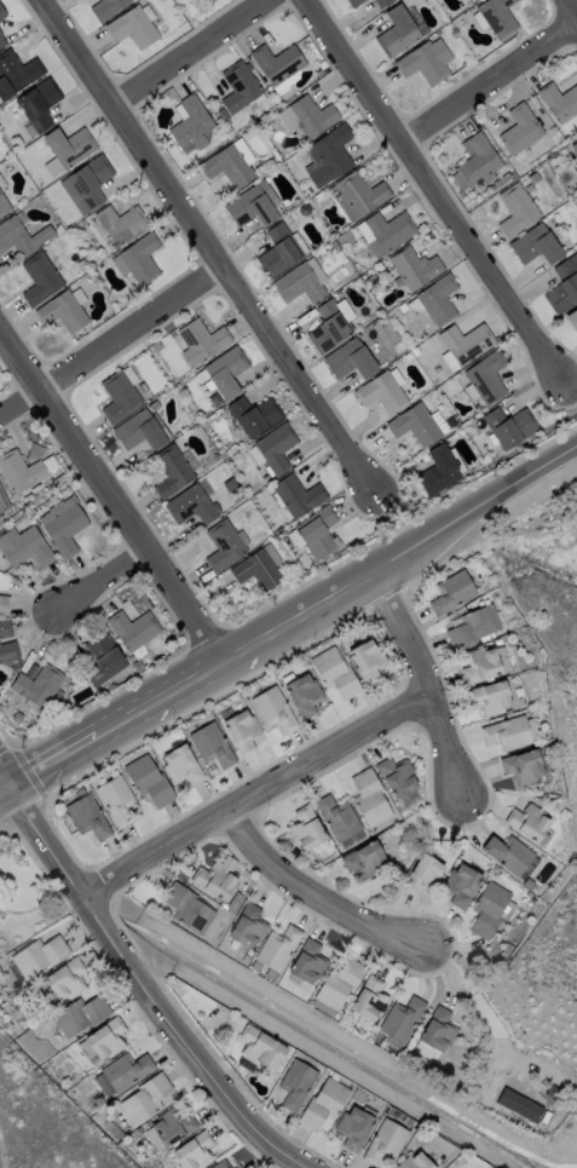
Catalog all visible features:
building: (353, 2)
building: (380, 2)
building: (105, 7)
road: (571, 7)
building: (1, 13)
building: (492, 16)
building: (133, 25)
building: (396, 31)
building: (1, 40)
road: (187, 48)
building: (425, 62)
building: (276, 63)
building: (16, 73)
road: (491, 75)
building: (237, 86)
building: (559, 102)
building: (37, 104)
building: (306, 116)
building: (189, 122)
building: (519, 130)
building: (68, 146)
building: (573, 146)
building: (241, 150)
building: (327, 156)
building: (474, 163)
building: (225, 166)
building: (51, 167)
building: (573, 167)
building: (86, 184)
road: (442, 188)
building: (357, 196)
building: (252, 205)
building: (2, 206)
building: (515, 209)
building: (120, 223)
building: (383, 231)
building: (19, 236)
building: (533, 244)
road: (206, 246)
building: (277, 251)
building: (137, 259)
building: (412, 267)
building: (39, 278)
building: (299, 282)
building: (562, 284)
building: (437, 299)
building: (60, 312)
building: (329, 324)
building: (200, 341)
building: (465, 343)
road: (110, 346)
building: (348, 359)
building: (224, 372)
building: (485, 376)
building: (380, 392)
building: (117, 397)
building: (253, 415)
building: (414, 425)
building: (509, 426)
building: (138, 431)
building: (275, 447)
building: (171, 471)
building: (437, 471)
building: (19, 472)
road: (109, 494)
building: (296, 495)
building: (2, 502)
building: (190, 505)
building: (60, 525)
building: (316, 533)
building: (223, 545)
building: (23, 546)
road: (105, 582)
building: (451, 592)
building: (2, 604)
road: (292, 621)
building: (473, 626)
building: (132, 628)
building: (6, 643)
building: (103, 657)
building: (364, 660)
building: (484, 663)
building: (333, 672)
road: (427, 680)
building: (36, 686)
building: (301, 694)
building: (489, 697)
building: (271, 708)
building: (240, 731)
building: (506, 732)
building: (209, 744)
building: (179, 765)
building: (521, 766)
building: (397, 776)
building: (146, 779)
road: (249, 790)
building: (369, 798)
building: (115, 800)
building: (86, 817)
building: (336, 817)
building: (529, 823)
building: (305, 828)
building: (507, 853)
building: (363, 859)
building: (422, 874)
building: (214, 878)
road: (312, 882)
building: (460, 885)
building: (185, 908)
road: (29, 909)
building: (487, 909)
building: (247, 926)
building: (275, 951)
building: (37, 955)
building: (306, 962)
building: (59, 982)
road: (139, 982)
building: (337, 984)
building: (369, 999)
building: (79, 1015)
building: (400, 1019)
road: (329, 1030)
building: (437, 1030)
building: (104, 1038)
building: (260, 1048)
building: (121, 1072)
building: (295, 1083)
building: (143, 1099)
building: (323, 1105)
building: (518, 1105)
building: (171, 1126)
building: (352, 1127)
building: (383, 1141)
building: (192, 1151)
building: (415, 1161)
building: (220, 1164)
building: (237, 1166)

